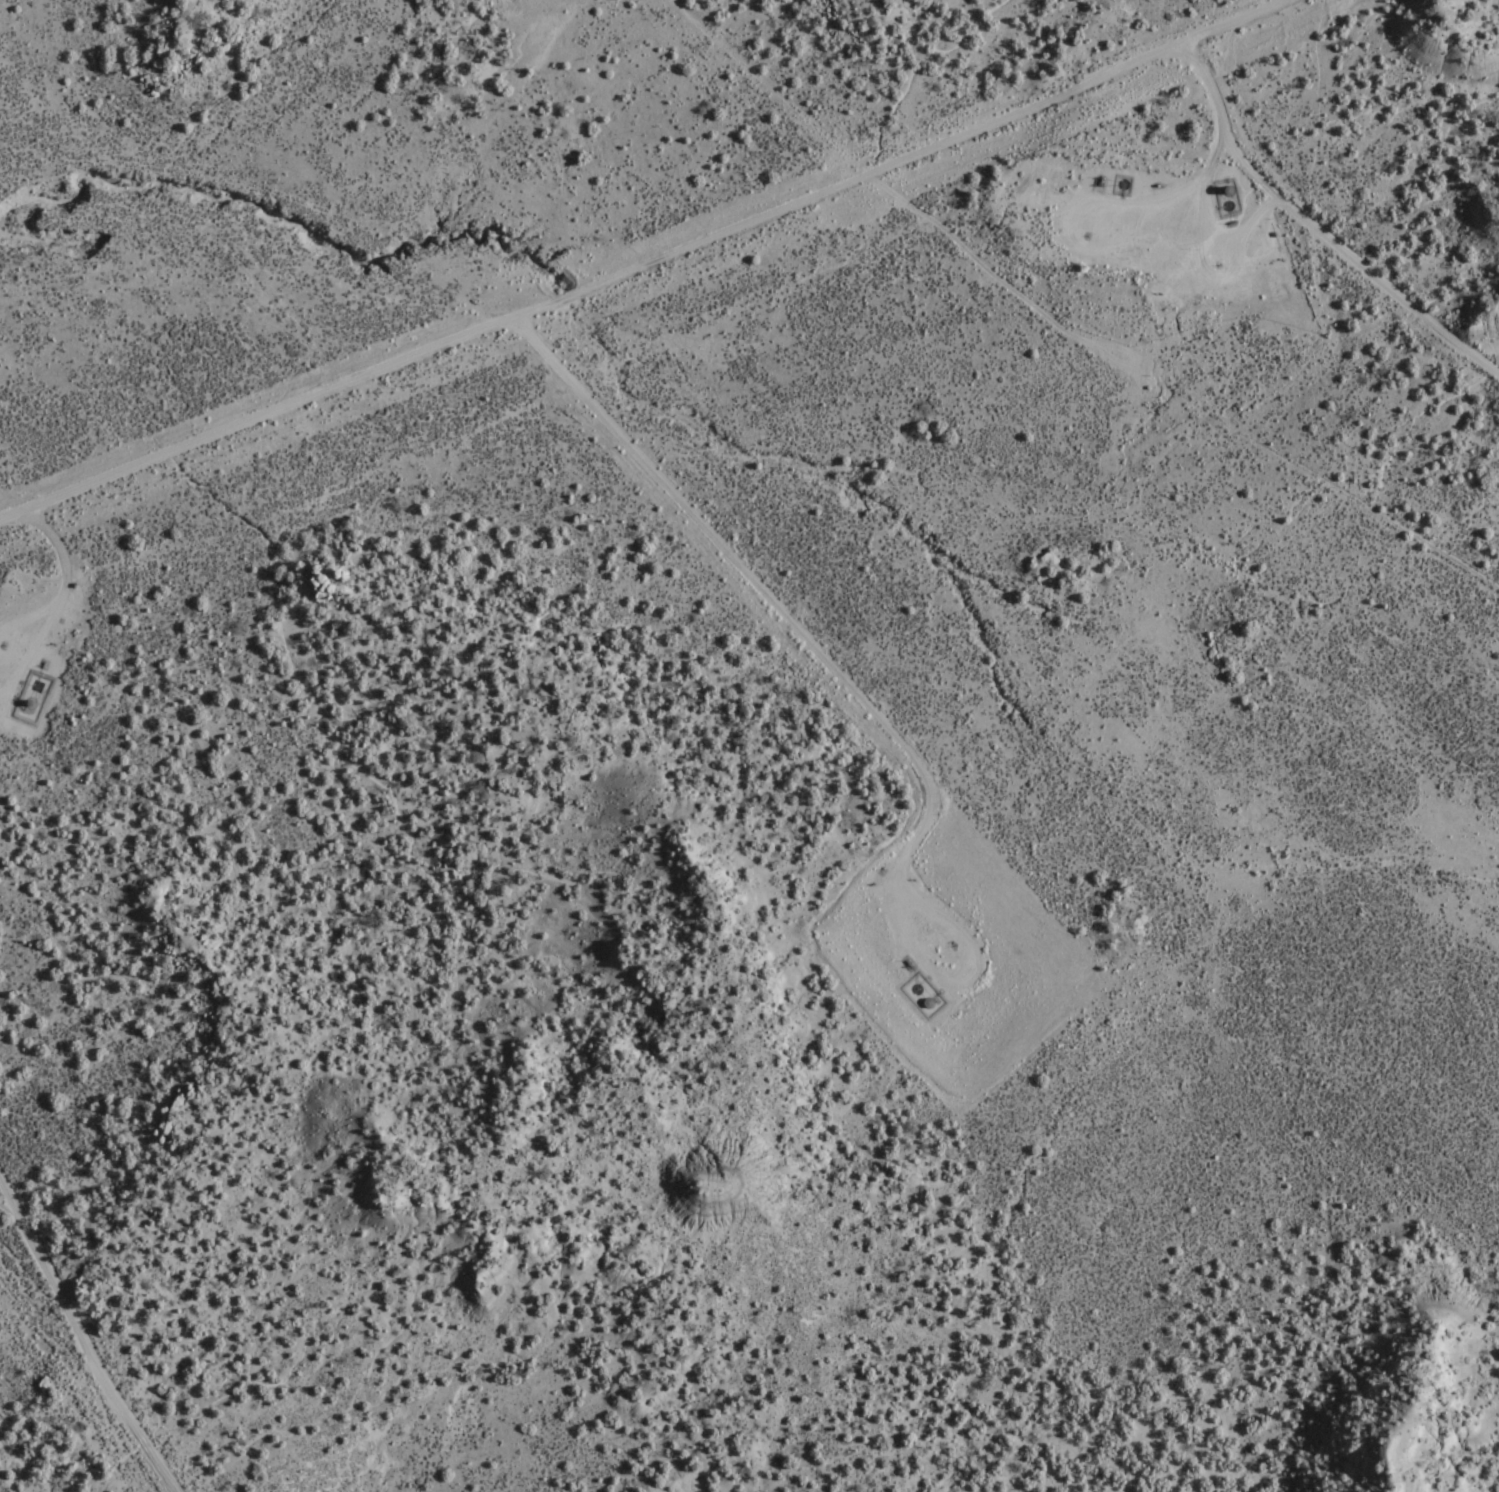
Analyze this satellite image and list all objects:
road: (724, 89)
road: (641, 264)
road: (62, 1374)

